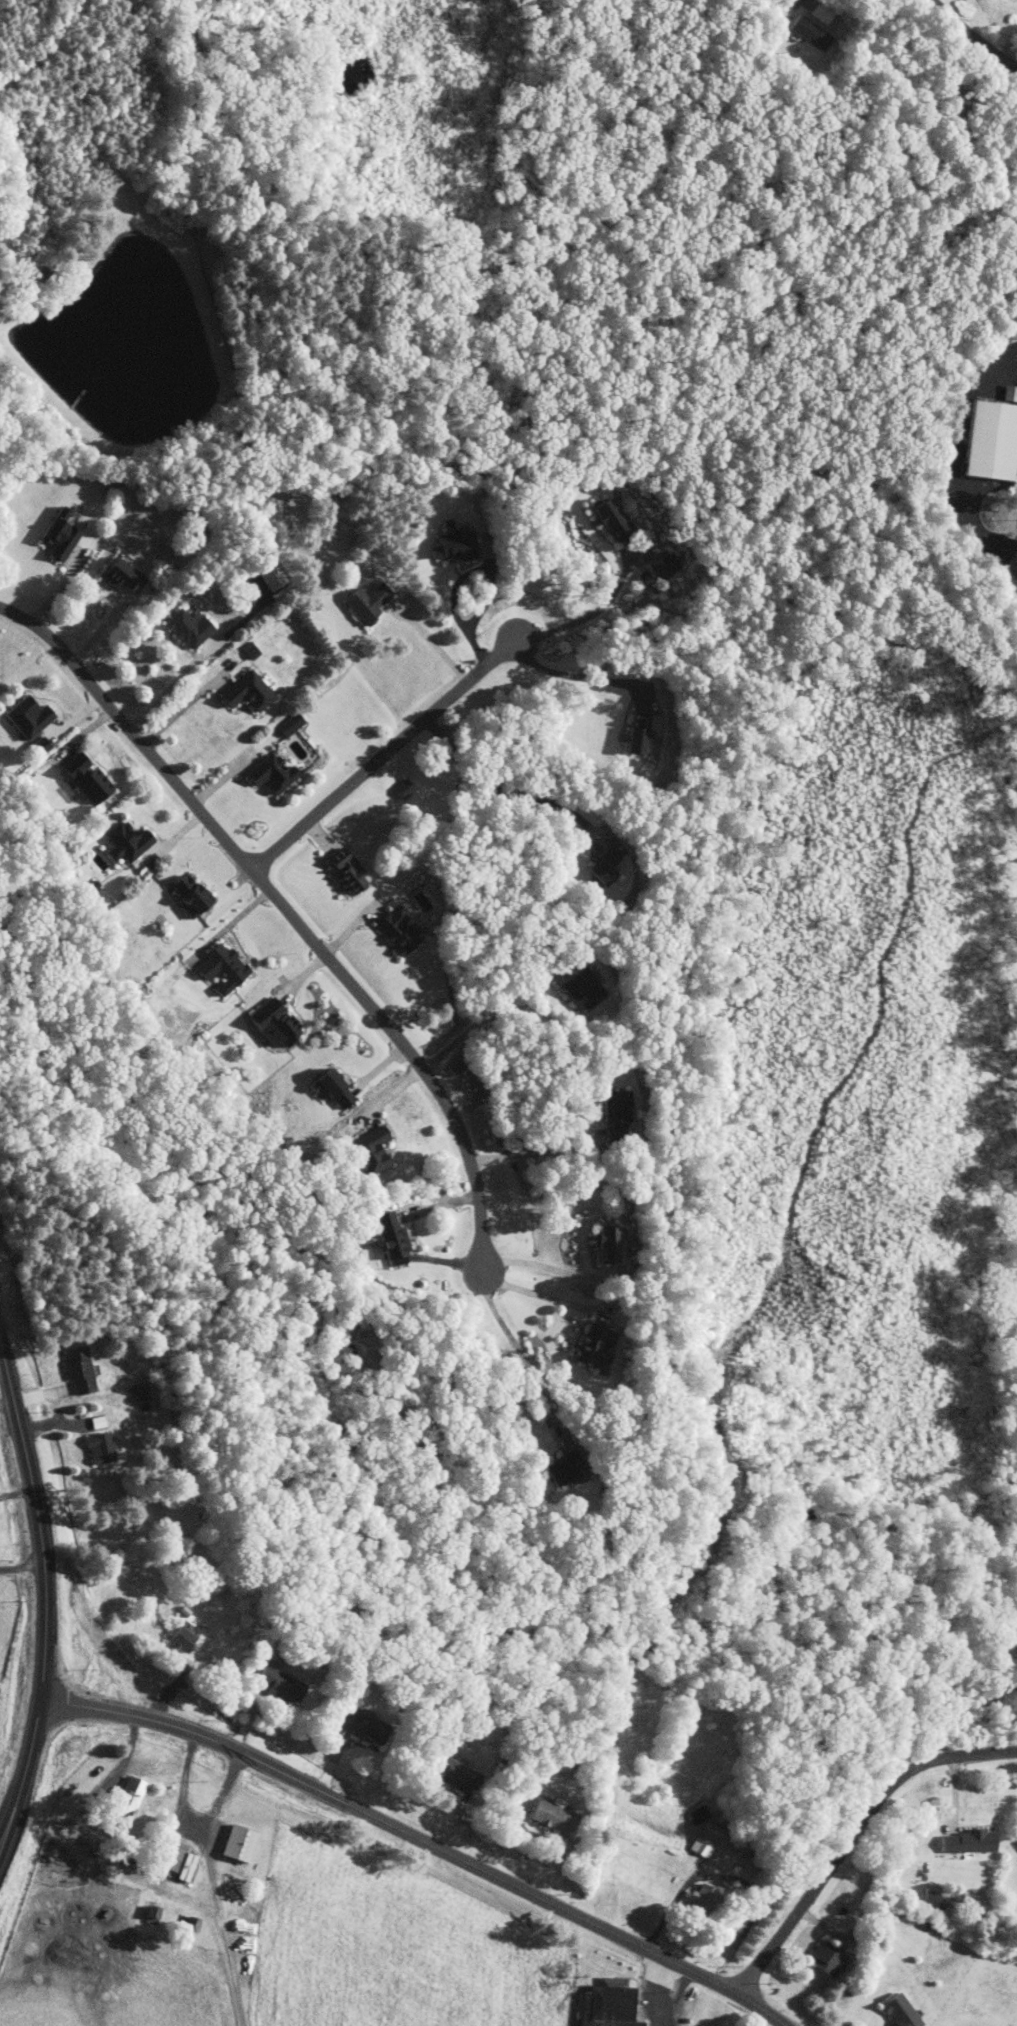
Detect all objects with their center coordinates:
road: (807, 1)
building: (807, 31)
road: (972, 33)
building: (987, 440)
road: (955, 459)
building: (608, 517)
building: (55, 535)
building: (452, 546)
building: (669, 567)
building: (120, 575)
road: (455, 598)
building: (366, 600)
road: (588, 617)
building: (186, 627)
road: (431, 641)
road: (577, 676)
road: (175, 683)
building: (243, 692)
road: (184, 708)
building: (26, 716)
building: (287, 724)
building: (633, 735)
road: (385, 753)
road: (233, 770)
building: (268, 774)
building: (82, 777)
building: (401, 789)
road: (503, 792)
building: (123, 842)
building: (609, 866)
building: (343, 872)
building: (186, 896)
road: (287, 910)
building: (395, 930)
building: (219, 967)
building: (589, 985)
road: (488, 1016)
building: (271, 1024)
building: (326, 1088)
building: (622, 1112)
building: (367, 1151)
road: (530, 1154)
building: (390, 1239)
building: (609, 1245)
road: (548, 1268)
road: (538, 1294)
building: (591, 1346)
road: (524, 1358)
building: (81, 1369)
building: (100, 1421)
building: (104, 1447)
building: (562, 1470)
road: (38, 1518)
road: (22, 1567)
building: (187, 1639)
building: (282, 1686)
building: (367, 1727)
road: (23, 1772)
building: (139, 1785)
building: (547, 1813)
road: (127, 1831)
road: (853, 1834)
road: (421, 1840)
building: (965, 1841)
building: (245, 1842)
building: (701, 1845)
building: (931, 1897)
building: (697, 1899)
building: (156, 1915)
building: (825, 1955)
road: (662, 2003)
building: (605, 2004)
building: (896, 2011)

